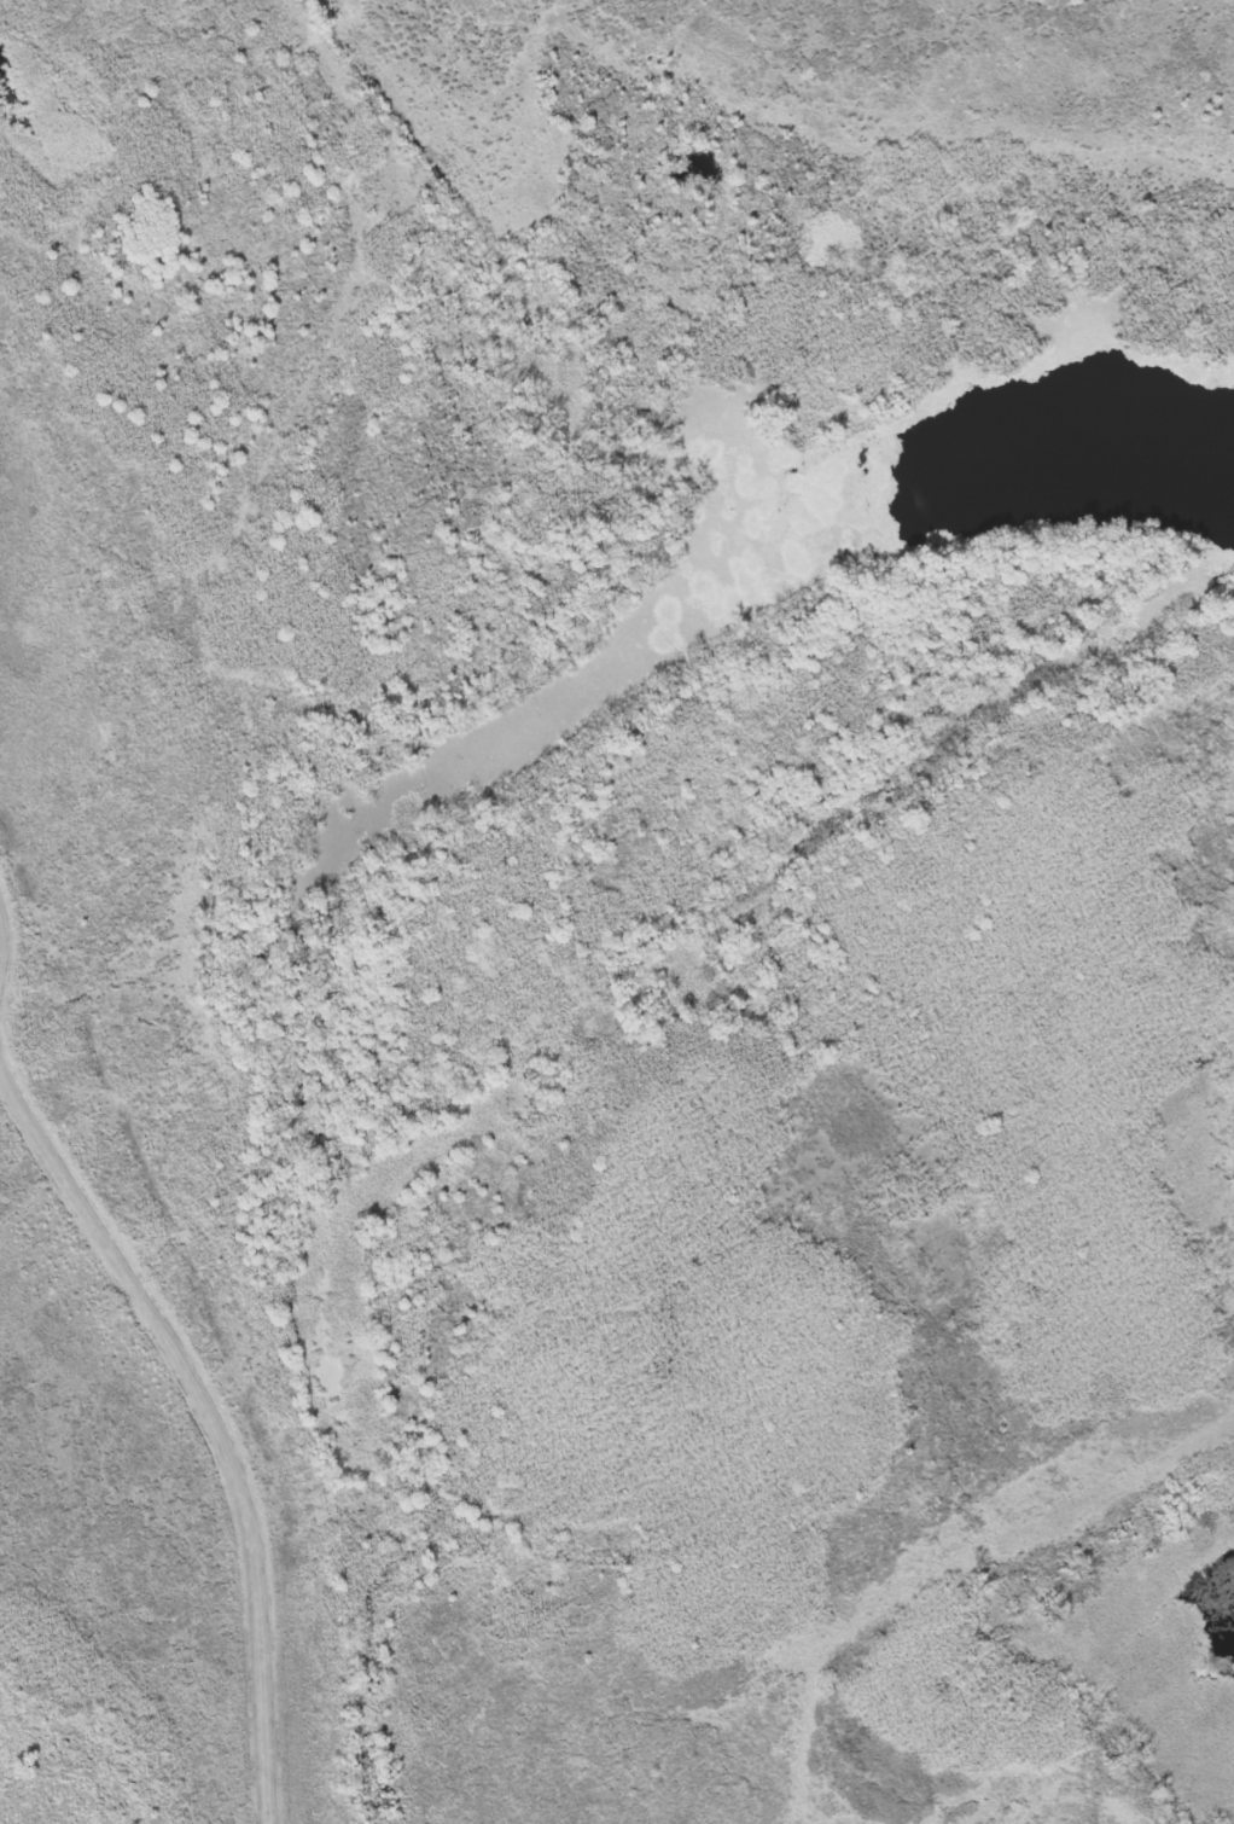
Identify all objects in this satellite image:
road: (78, 1086)

